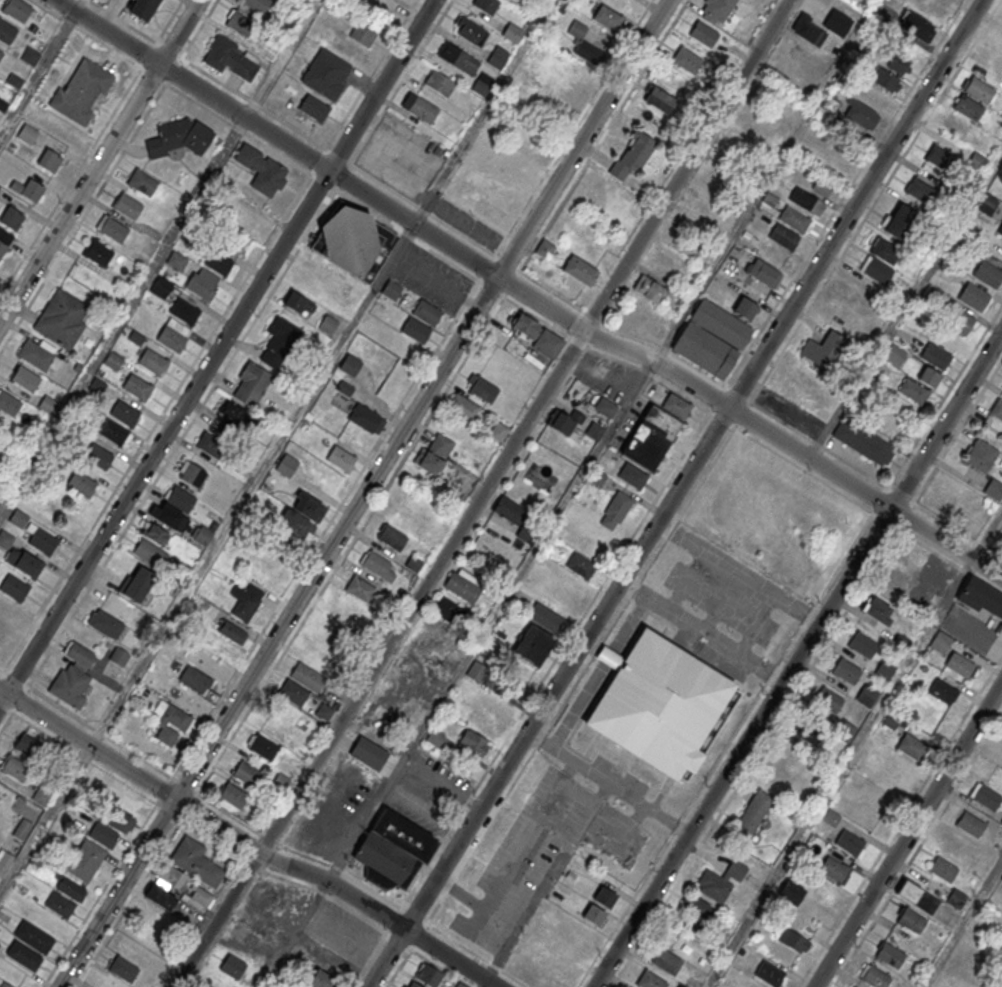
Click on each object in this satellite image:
building: (258, 5)
building: (486, 5)
road: (80, 6)
building: (143, 8)
building: (718, 8)
building: (17, 9)
building: (608, 17)
building: (837, 22)
building: (241, 24)
building: (916, 25)
building: (808, 30)
building: (6, 31)
road: (179, 32)
building: (470, 32)
building: (512, 33)
building: (703, 33)
building: (362, 35)
road: (99, 41)
building: (1, 53)
building: (589, 53)
building: (30, 56)
building: (498, 57)
building: (231, 58)
building: (457, 58)
building: (688, 60)
building: (898, 63)
road: (38, 73)
building: (326, 73)
road: (370, 74)
building: (888, 81)
road: (400, 82)
building: (438, 83)
building: (483, 83)
building: (978, 89)
building: (81, 91)
building: (877, 98)
building: (660, 99)
building: (829, 103)
building: (967, 107)
building: (314, 108)
building: (421, 109)
building: (859, 114)
building: (955, 123)
road: (238, 128)
building: (27, 132)
building: (179, 137)
building: (633, 155)
building: (941, 158)
building: (49, 160)
building: (977, 161)
building: (261, 169)
road: (70, 182)
building: (142, 182)
building: (822, 186)
building: (33, 190)
building: (919, 190)
road: (80, 193)
road: (844, 193)
building: (804, 199)
road: (875, 201)
building: (127, 206)
building: (11, 218)
road: (83, 218)
building: (793, 218)
building: (900, 220)
building: (114, 229)
building: (1000, 230)
building: (783, 236)
building: (353, 241)
building: (2, 247)
building: (544, 249)
building: (886, 250)
building: (98, 252)
building: (176, 260)
building: (218, 262)
road: (487, 268)
building: (875, 270)
building: (580, 271)
building: (764, 272)
building: (987, 274)
parking lot: (431, 278)
building: (199, 285)
building: (161, 287)
building: (392, 289)
building: (650, 290)
road: (526, 295)
building: (973, 298)
building: (298, 303)
building: (183, 311)
road: (121, 312)
building: (426, 312)
building: (62, 318)
building: (960, 322)
building: (328, 324)
building: (523, 324)
building: (415, 329)
building: (171, 338)
building: (711, 339)
building: (279, 341)
building: (548, 343)
building: (824, 349)
road: (217, 351)
building: (894, 354)
building: (37, 355)
building: (935, 356)
building: (113, 360)
building: (152, 361)
building: (350, 365)
building: (806, 371)
building: (928, 377)
building: (25, 378)
road: (719, 383)
building: (251, 384)
building: (137, 386)
road: (212, 387)
building: (483, 388)
building: (913, 391)
building: (9, 403)
building: (48, 404)
building: (677, 405)
building: (463, 406)
road: (701, 406)
building: (605, 407)
building: (997, 409)
building: (124, 413)
building: (238, 415)
building: (366, 418)
building: (565, 421)
road: (156, 422)
building: (228, 430)
building: (595, 430)
building: (113, 431)
building: (498, 431)
building: (650, 439)
building: (863, 443)
building: (210, 444)
road: (278, 448)
building: (434, 454)
building: (97, 455)
building: (980, 455)
building: (341, 458)
building: (286, 465)
building: (191, 473)
building: (632, 476)
building: (82, 484)
building: (993, 489)
road: (364, 493)
road: (483, 493)
road: (675, 493)
building: (180, 498)
building: (509, 510)
building: (615, 510)
building: (167, 515)
building: (301, 516)
building: (18, 518)
building: (155, 533)
building: (202, 534)
building: (391, 536)
building: (44, 540)
road: (317, 542)
building: (149, 553)
building: (23, 561)
building: (378, 565)
building: (580, 566)
road: (741, 569)
building: (136, 583)
building: (463, 585)
building: (14, 587)
building: (361, 588)
building: (980, 596)
building: (243, 603)
building: (449, 610)
building: (878, 610)
building: (545, 616)
building: (105, 623)
building: (6, 632)
building: (232, 632)
road: (702, 632)
building: (940, 642)
building: (533, 645)
building: (863, 645)
building: (219, 647)
building: (119, 656)
road: (797, 659)
building: (959, 664)
building: (846, 670)
building: (476, 671)
road: (1, 673)
building: (73, 676)
building: (307, 677)
building: (194, 679)
building: (943, 691)
building: (293, 692)
road: (568, 694)
building: (867, 696)
building: (829, 701)
building: (455, 703)
building: (660, 704)
building: (495, 707)
road: (13, 709)
building: (170, 722)
building: (484, 725)
road: (99, 732)
building: (807, 733)
building: (435, 739)
building: (473, 743)
building: (28, 746)
building: (912, 746)
building: (264, 747)
road: (565, 751)
building: (368, 752)
building: (15, 767)
building: (247, 773)
road: (842, 774)
road: (582, 792)
building: (232, 794)
building: (40, 796)
building: (986, 796)
road: (634, 797)
building: (753, 813)
road: (149, 816)
building: (831, 817)
building: (116, 821)
road: (899, 821)
building: (1001, 821)
building: (970, 824)
building: (22, 830)
building: (998, 832)
road: (908, 834)
building: (849, 841)
road: (246, 845)
building: (392, 847)
building: (955, 847)
road: (917, 849)
building: (85, 859)
parking lot: (528, 860)
building: (4, 862)
building: (196, 863)
building: (832, 868)
building: (943, 869)
building: (170, 879)
road: (291, 880)
building: (720, 880)
building: (1001, 880)
building: (69, 887)
building: (791, 893)
building: (160, 896)
building: (917, 896)
building: (604, 897)
building: (956, 898)
building: (199, 900)
building: (59, 904)
building: (696, 913)
building: (594, 915)
building: (911, 920)
road: (963, 924)
road: (296, 934)
building: (33, 936)
building: (792, 940)
building: (24, 954)
road: (477, 954)
building: (890, 954)
building: (667, 961)
building: (232, 965)
building: (123, 968)
building: (769, 973)
building: (429, 974)
building: (875, 977)
building: (558, 979)
building: (323, 980)
building: (650, 980)
road: (485, 983)
building: (5, 984)
building: (459, 984)
building: (413, 985)
building: (306, 986)
building: (681, 986)
building: (853, 986)

